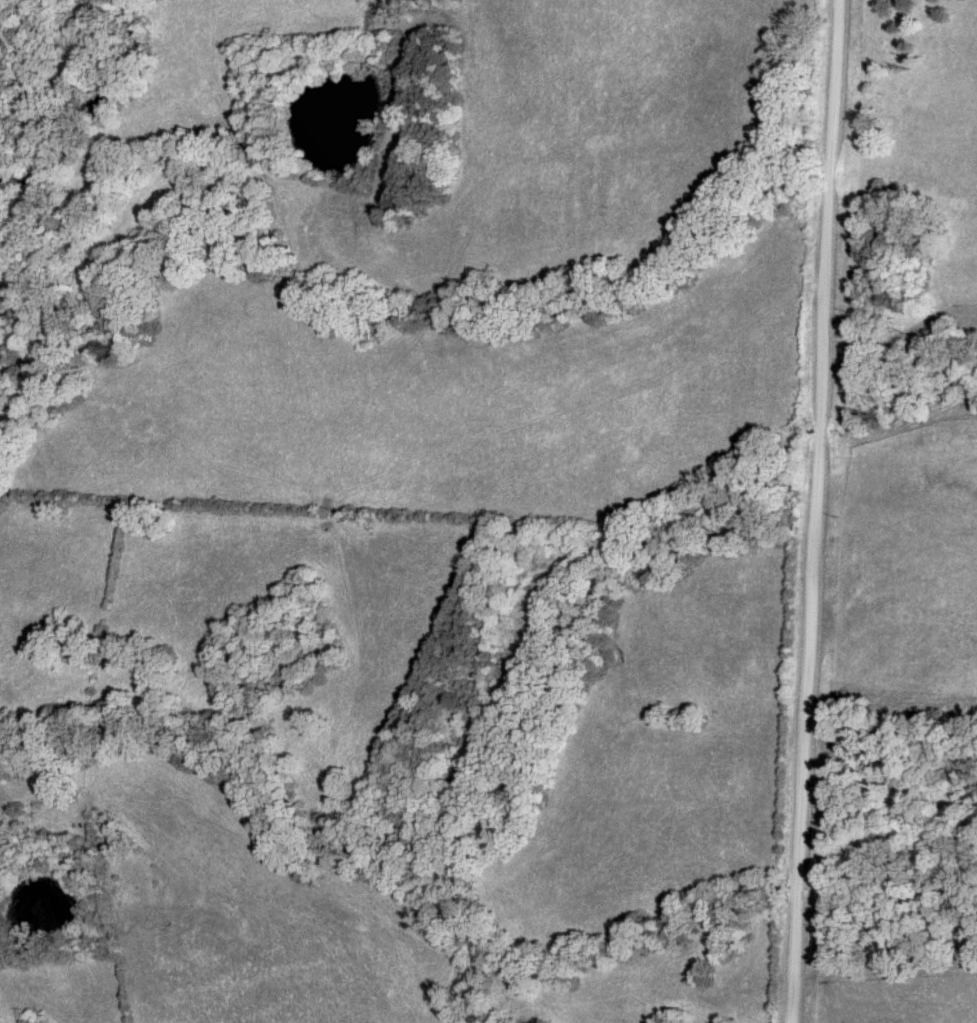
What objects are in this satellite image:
road: (817, 511)

